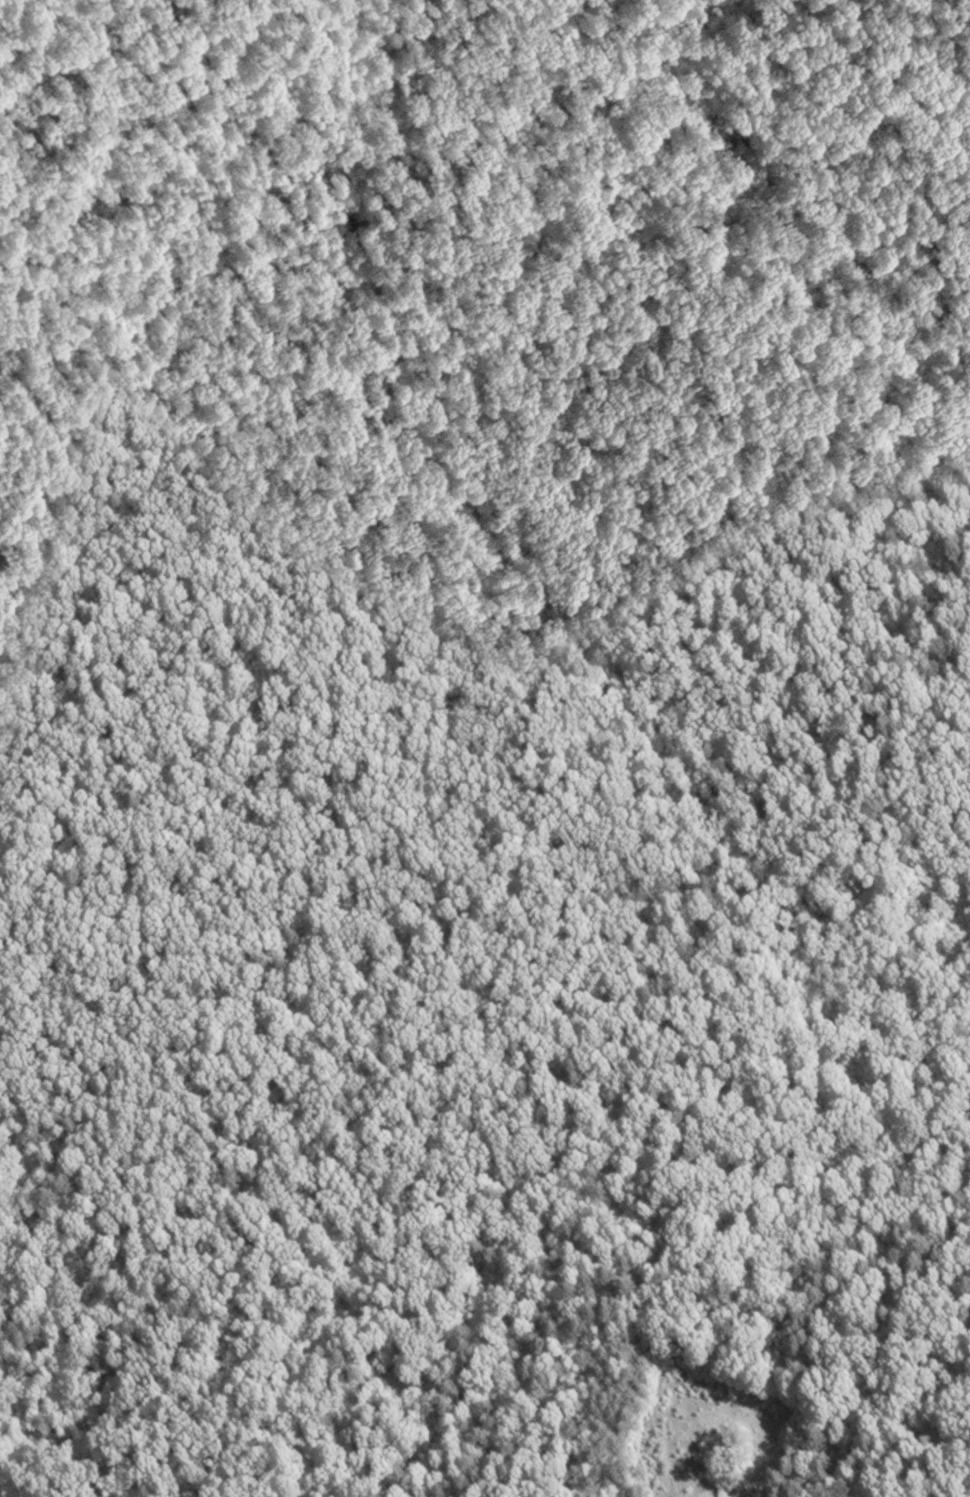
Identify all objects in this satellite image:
road: (933, 15)
road: (842, 1283)

